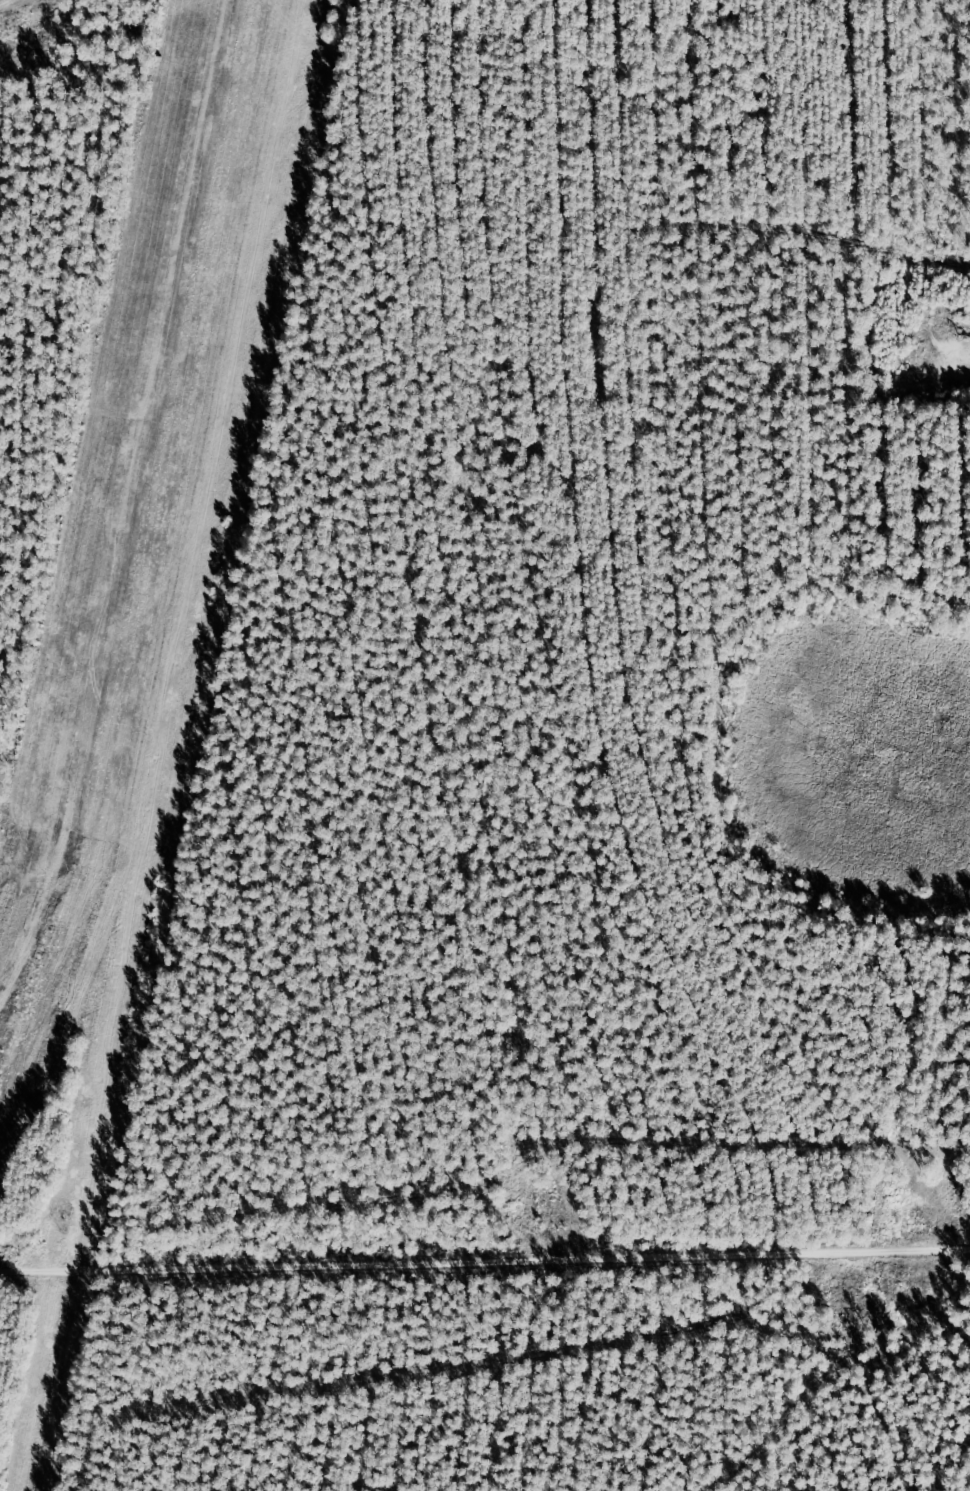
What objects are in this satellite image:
road: (31, 15)
road: (485, 1271)

